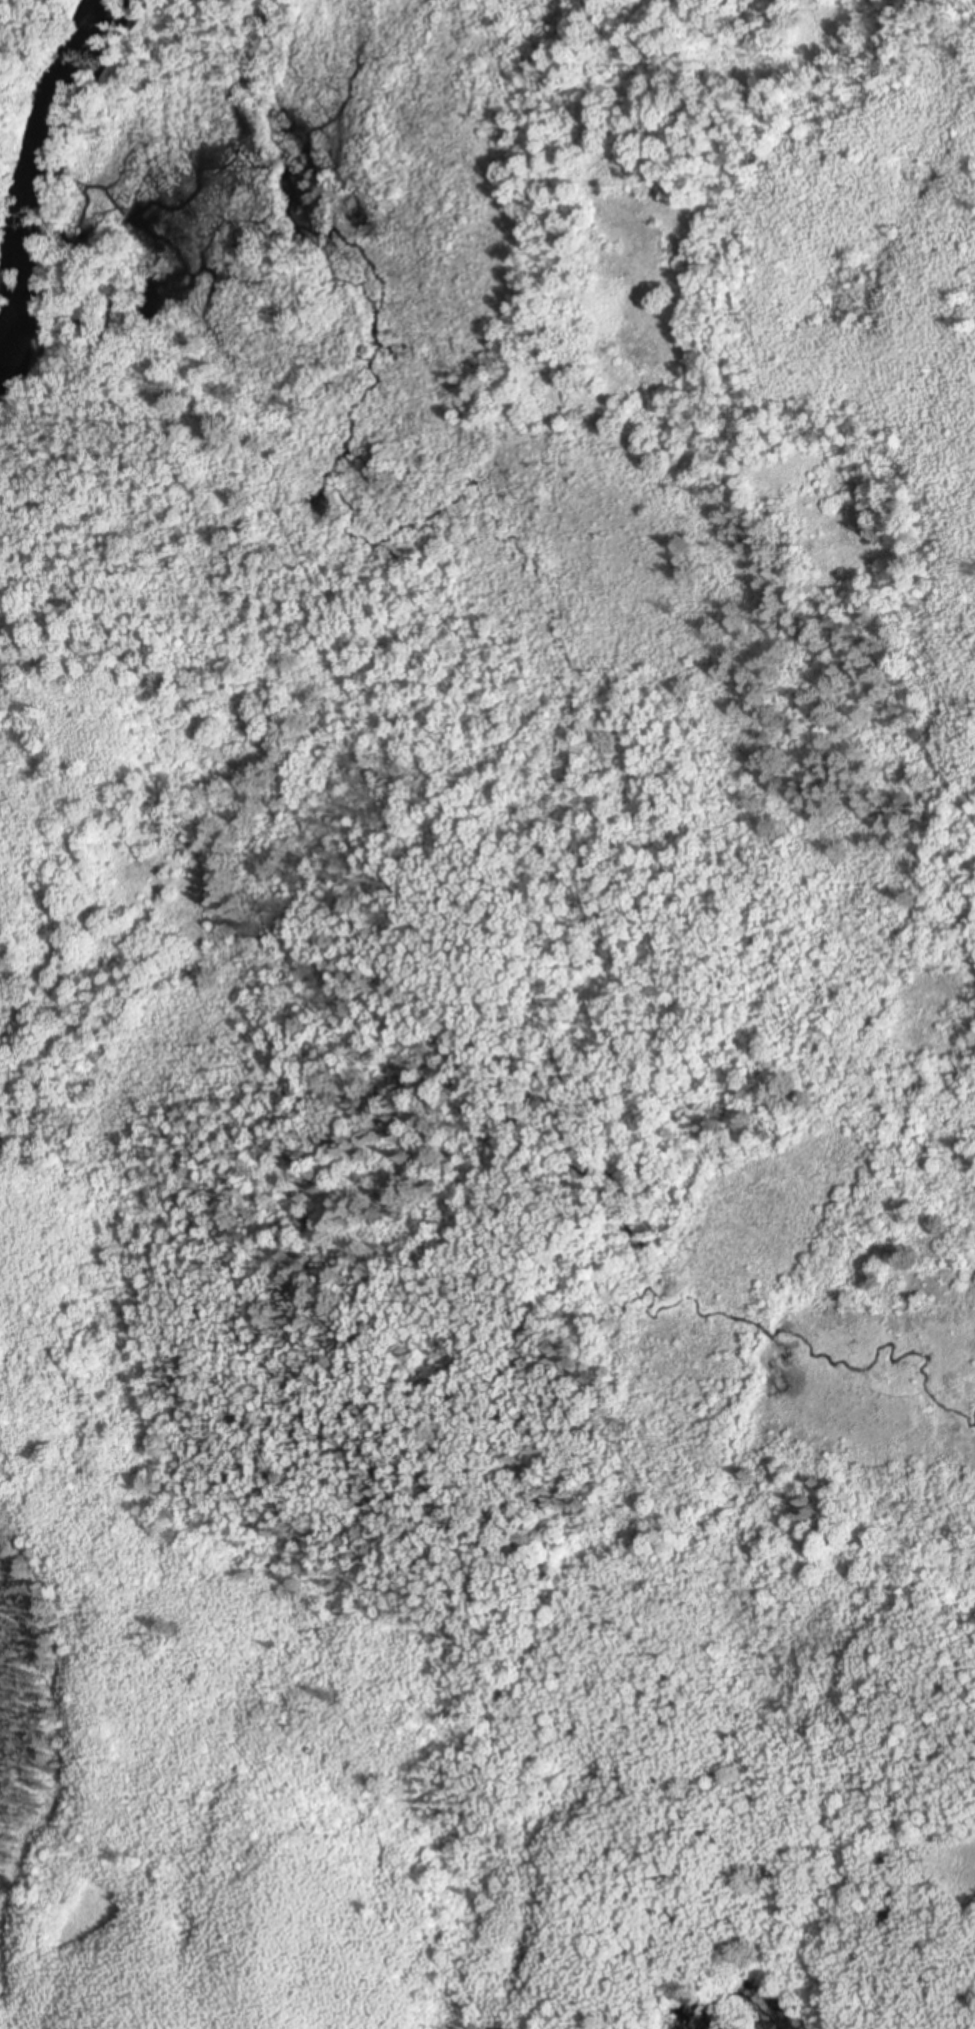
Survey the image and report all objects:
river: (58, 180)

